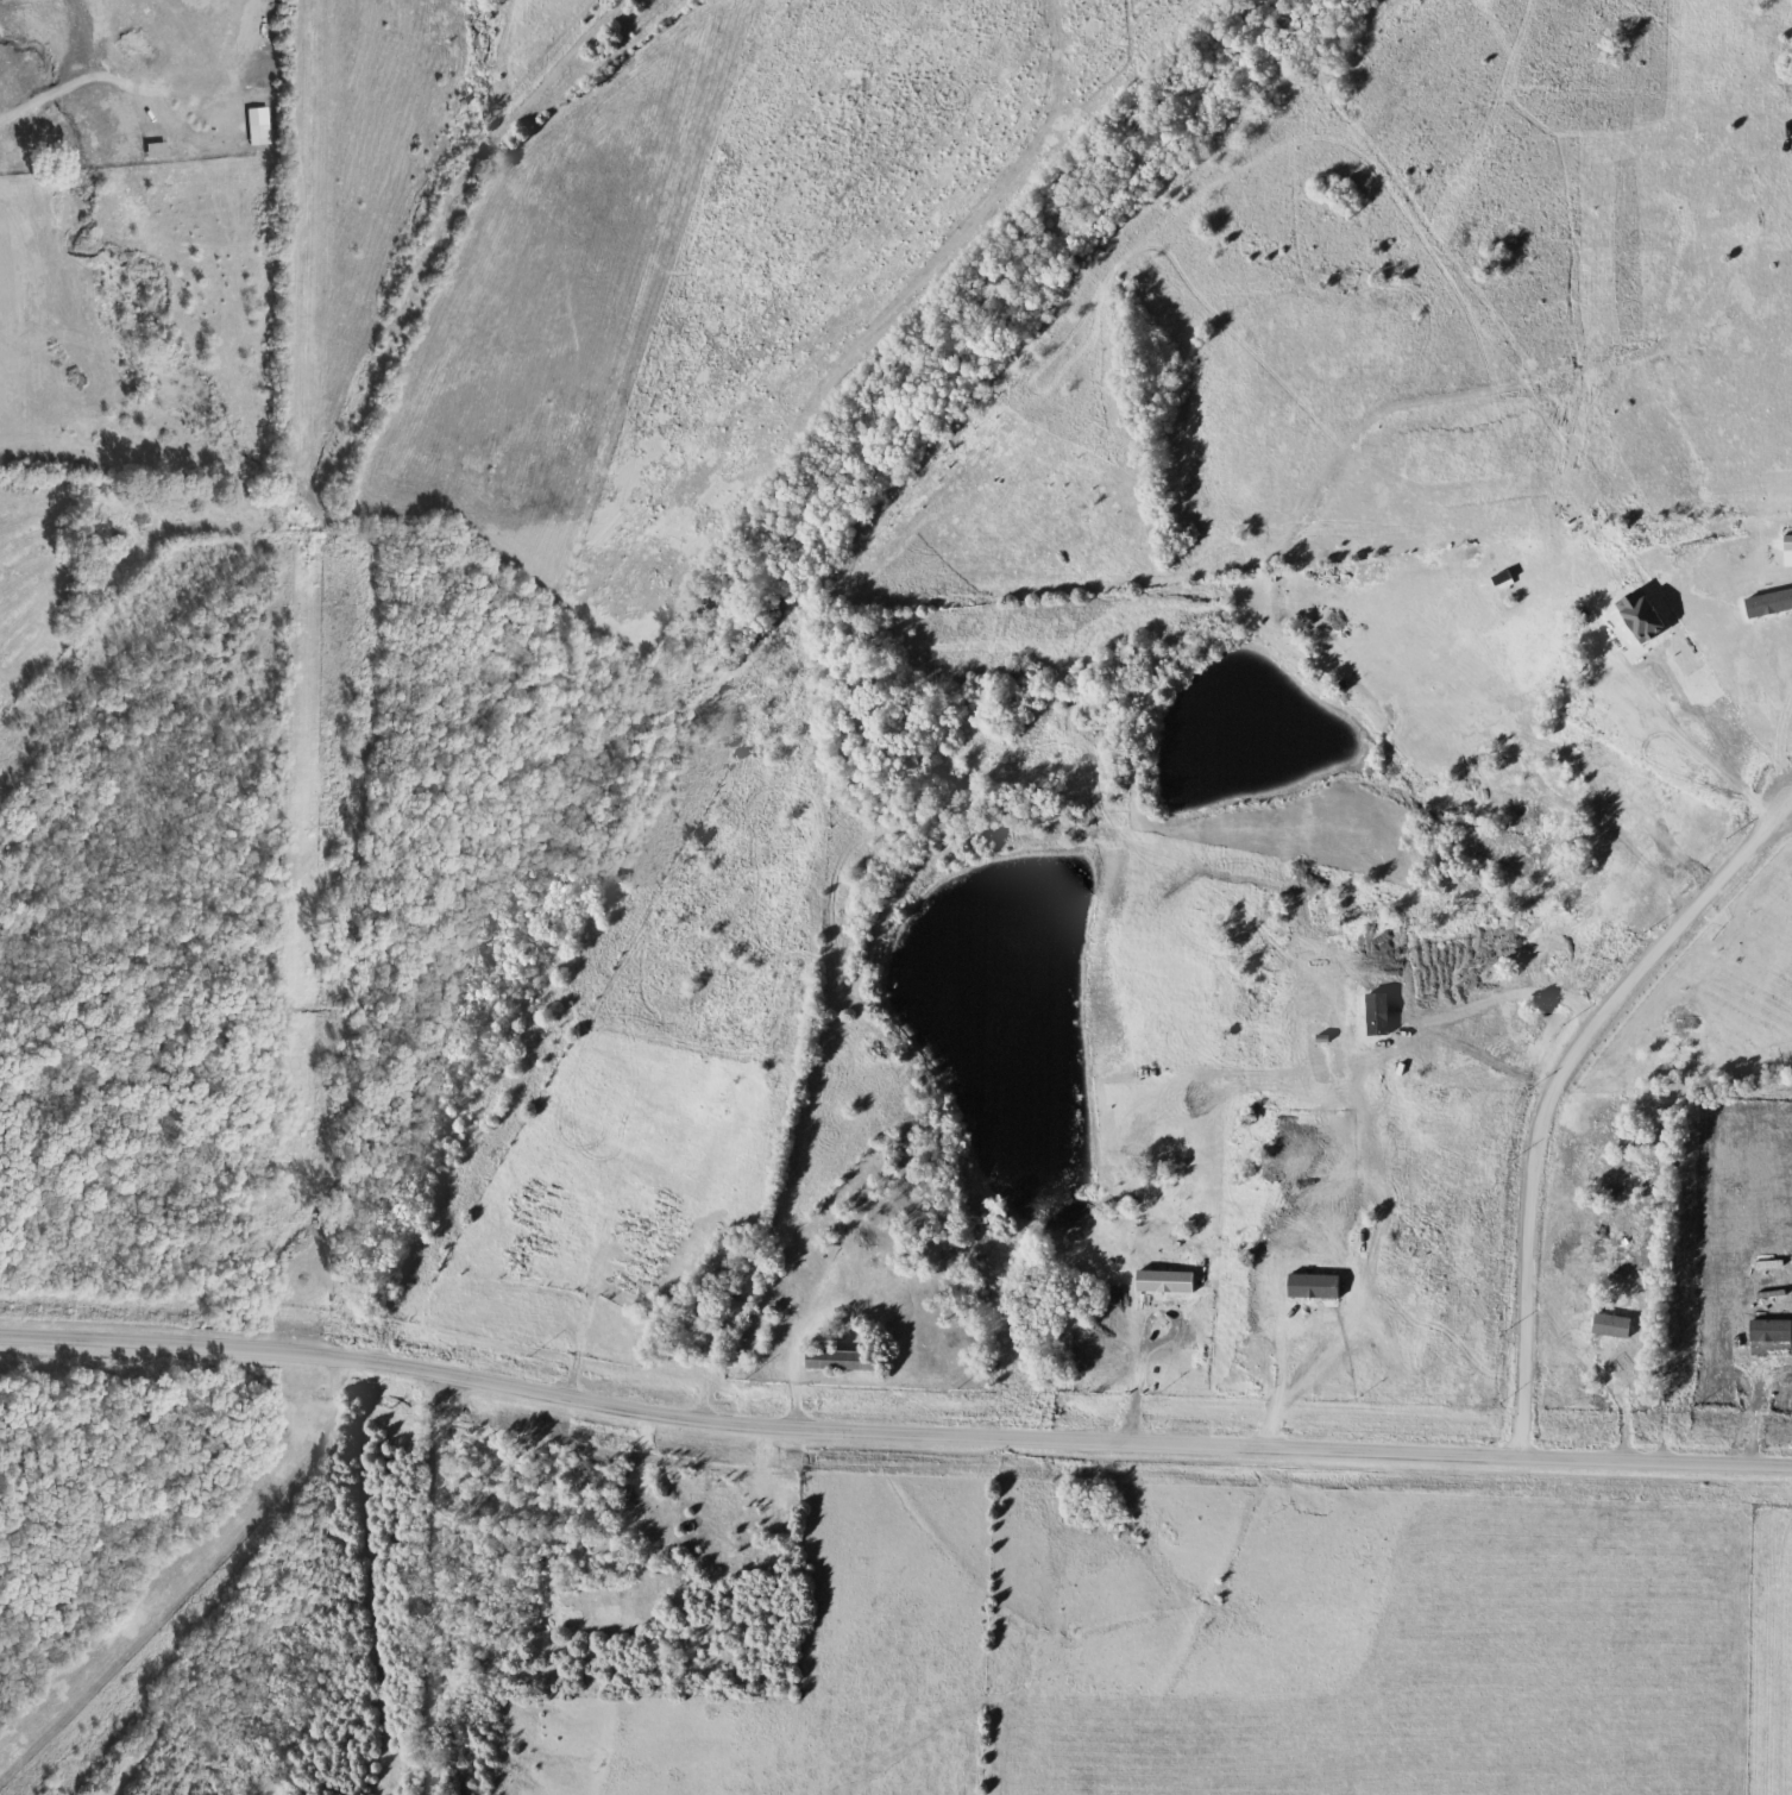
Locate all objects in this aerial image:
road: (1552, 1086)
road: (1144, 1341)
road: (799, 1350)
building: (848, 1355)
road: (891, 1432)
road: (433, 1587)

